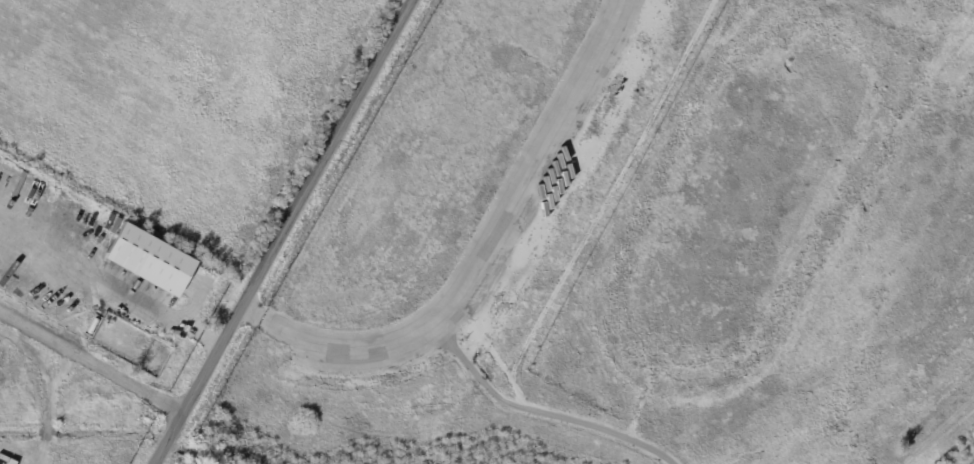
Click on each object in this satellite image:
building: (92, 226)
road: (282, 232)
building: (106, 240)
road: (483, 251)
building: (127, 266)
building: (146, 280)
building: (162, 286)
road: (109, 291)
road: (91, 361)
road: (49, 405)
road: (537, 411)

